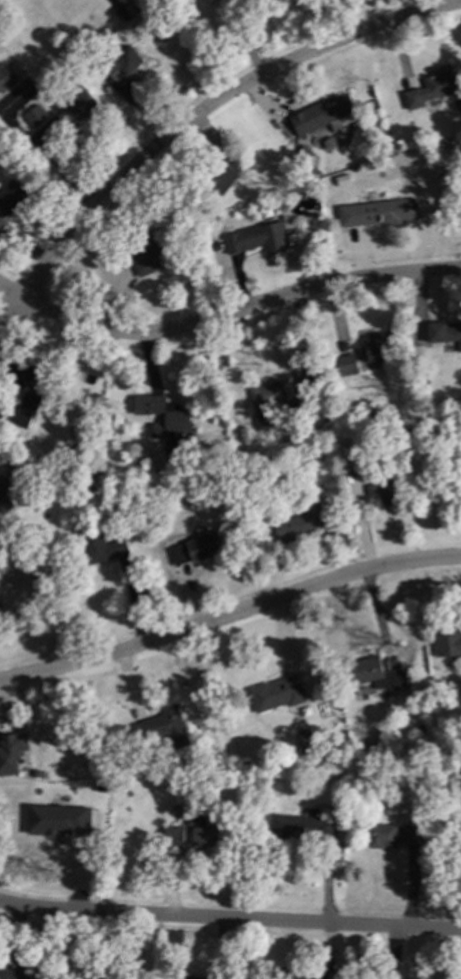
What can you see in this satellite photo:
building: (245, 0)
building: (125, 9)
building: (121, 64)
building: (6, 75)
building: (431, 86)
building: (77, 98)
road: (211, 105)
building: (321, 113)
building: (35, 115)
building: (20, 120)
building: (398, 141)
building: (303, 152)
building: (459, 163)
building: (221, 174)
building: (331, 176)
building: (349, 177)
building: (10, 197)
building: (378, 212)
building: (195, 221)
building: (255, 238)
building: (149, 250)
road: (10, 289)
road: (237, 308)
road: (10, 313)
building: (444, 331)
building: (377, 345)
building: (346, 364)
building: (43, 375)
building: (420, 381)
building: (267, 394)
building: (304, 404)
building: (25, 406)
building: (167, 420)
building: (324, 420)
building: (404, 428)
building: (46, 438)
building: (356, 463)
building: (92, 464)
building: (10, 488)
building: (164, 488)
building: (383, 492)
building: (303, 522)
building: (101, 546)
building: (197, 546)
building: (33, 577)
road: (230, 615)
building: (447, 642)
building: (376, 673)
building: (276, 692)
building: (163, 726)
building: (419, 728)
building: (7, 750)
building: (159, 750)
building: (262, 760)
building: (227, 762)
building: (34, 772)
building: (74, 808)
building: (57, 820)
building: (299, 824)
building: (203, 831)
building: (173, 833)
building: (411, 833)
building: (380, 834)
road: (230, 918)
building: (14, 974)
building: (298, 975)
building: (190, 977)
building: (99, 978)

